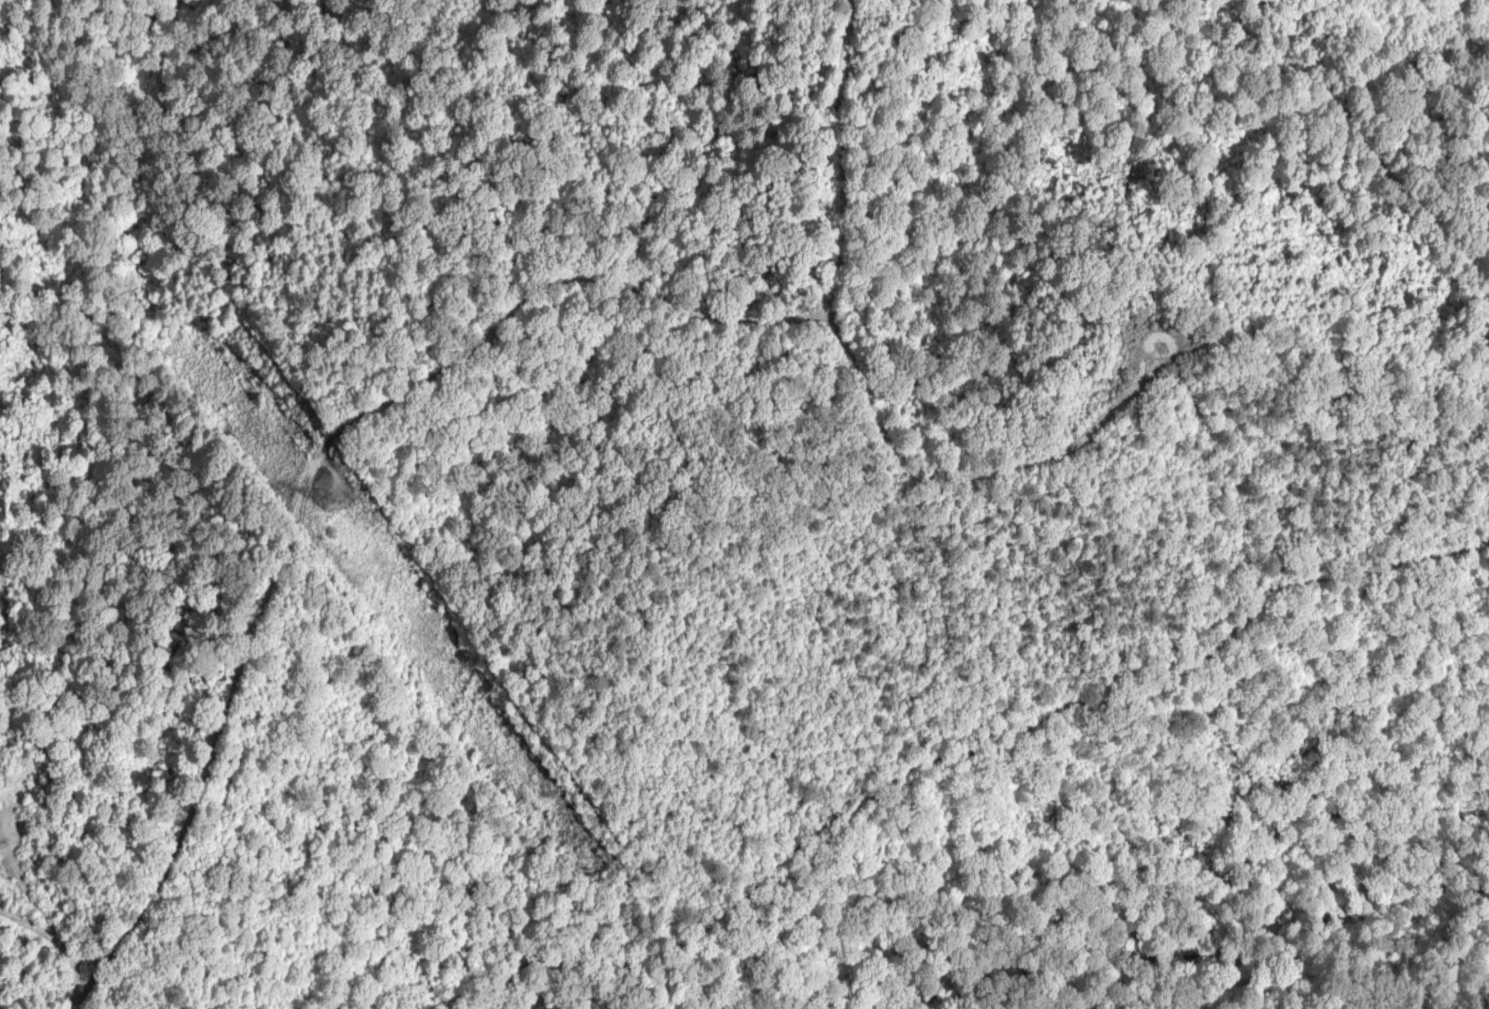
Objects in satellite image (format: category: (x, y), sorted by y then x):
road: (847, 396)
road: (299, 489)
road: (0, 633)
road: (39, 936)

